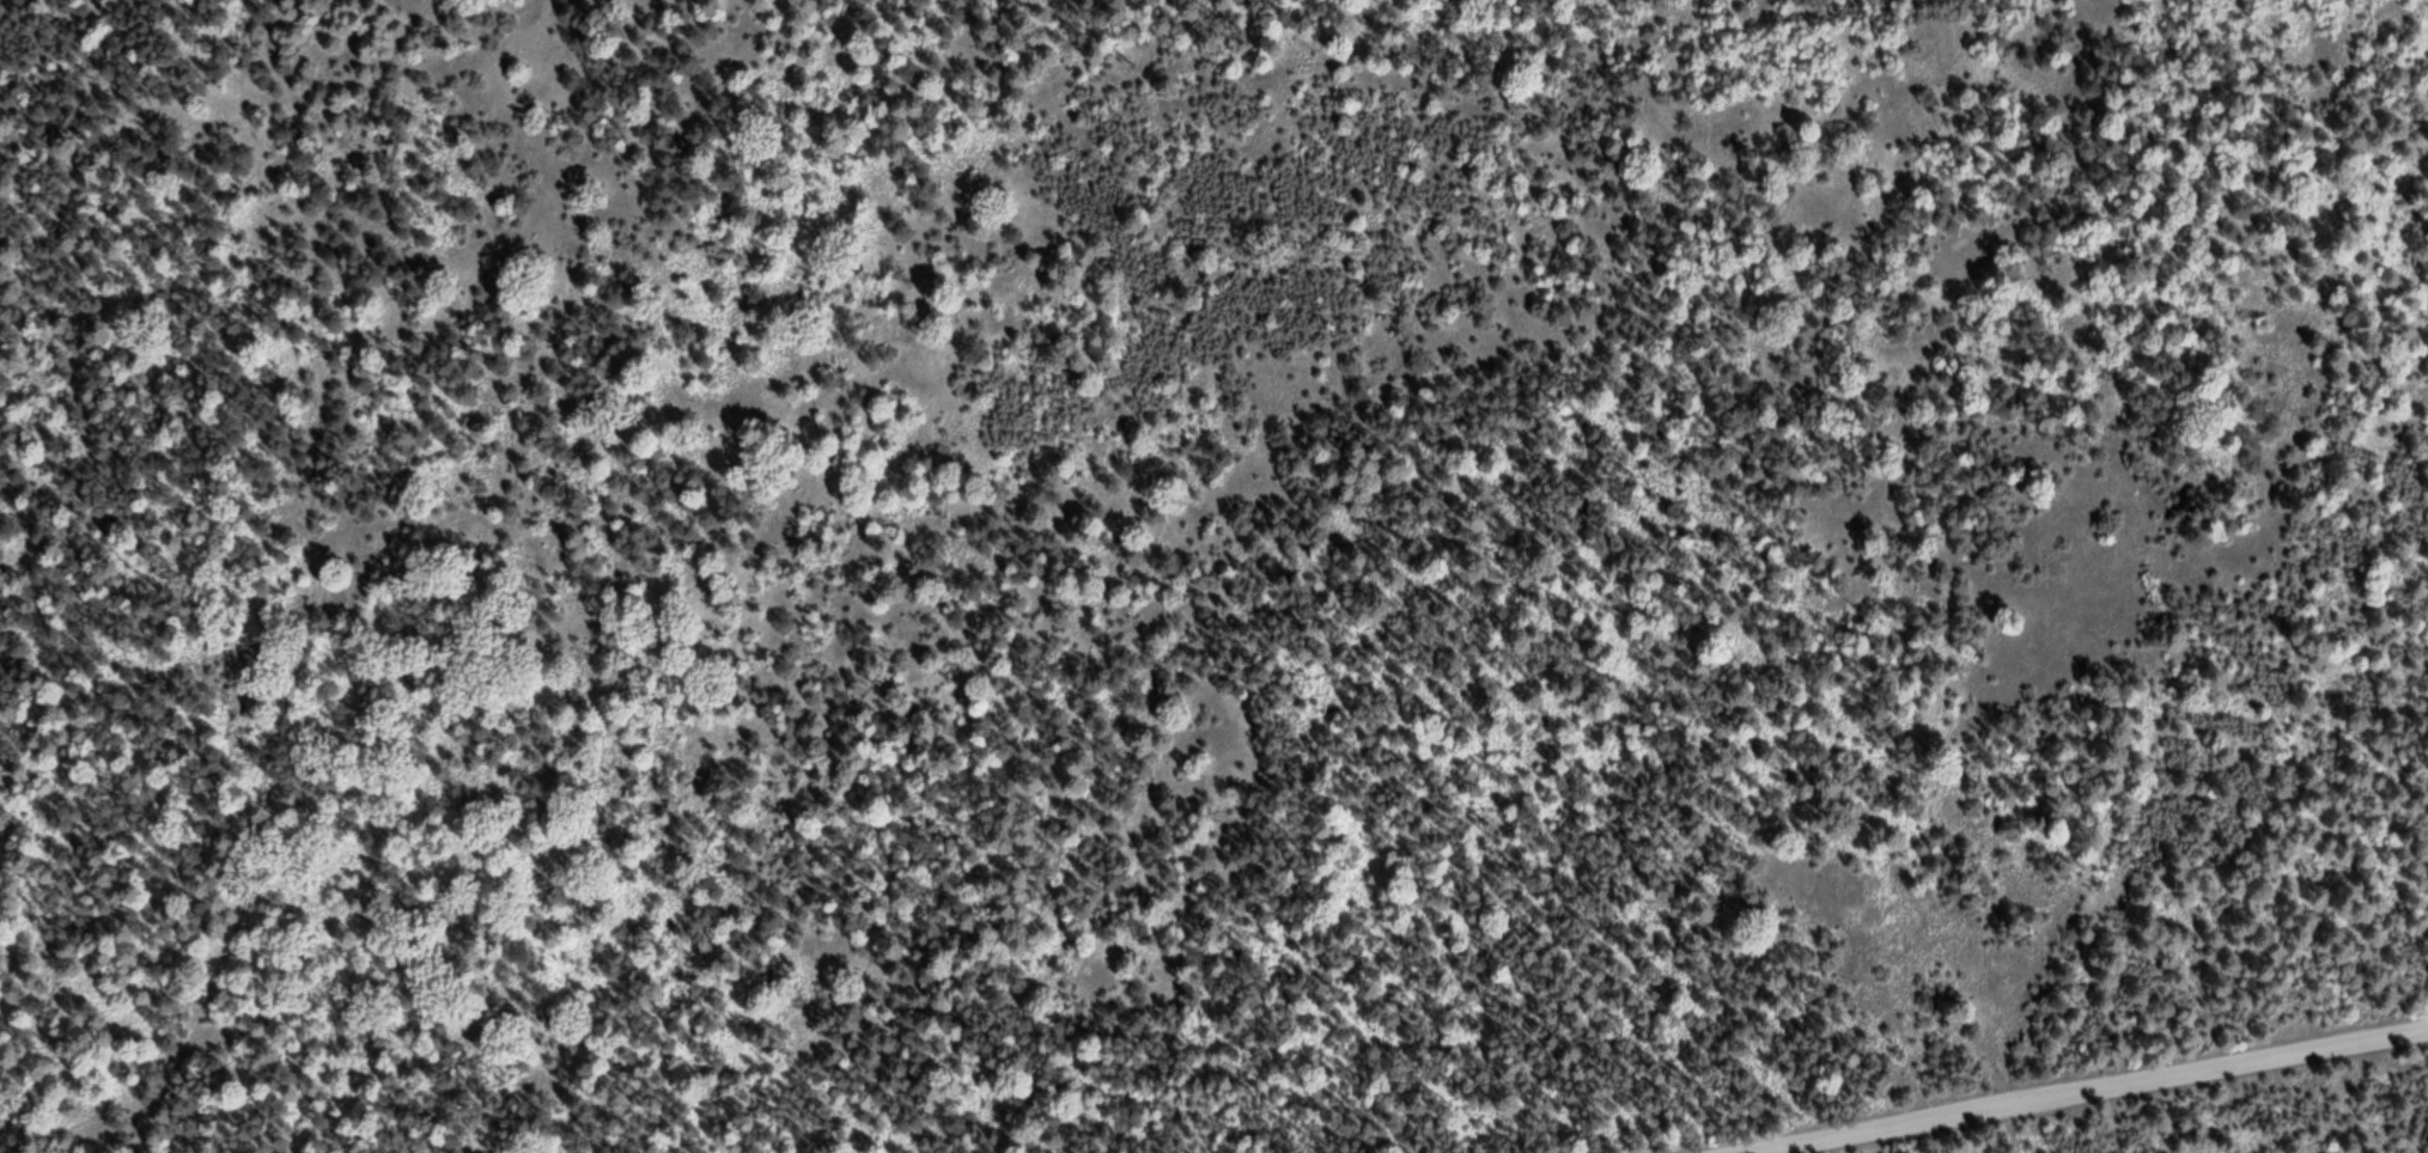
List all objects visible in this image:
road: (2077, 1088)

